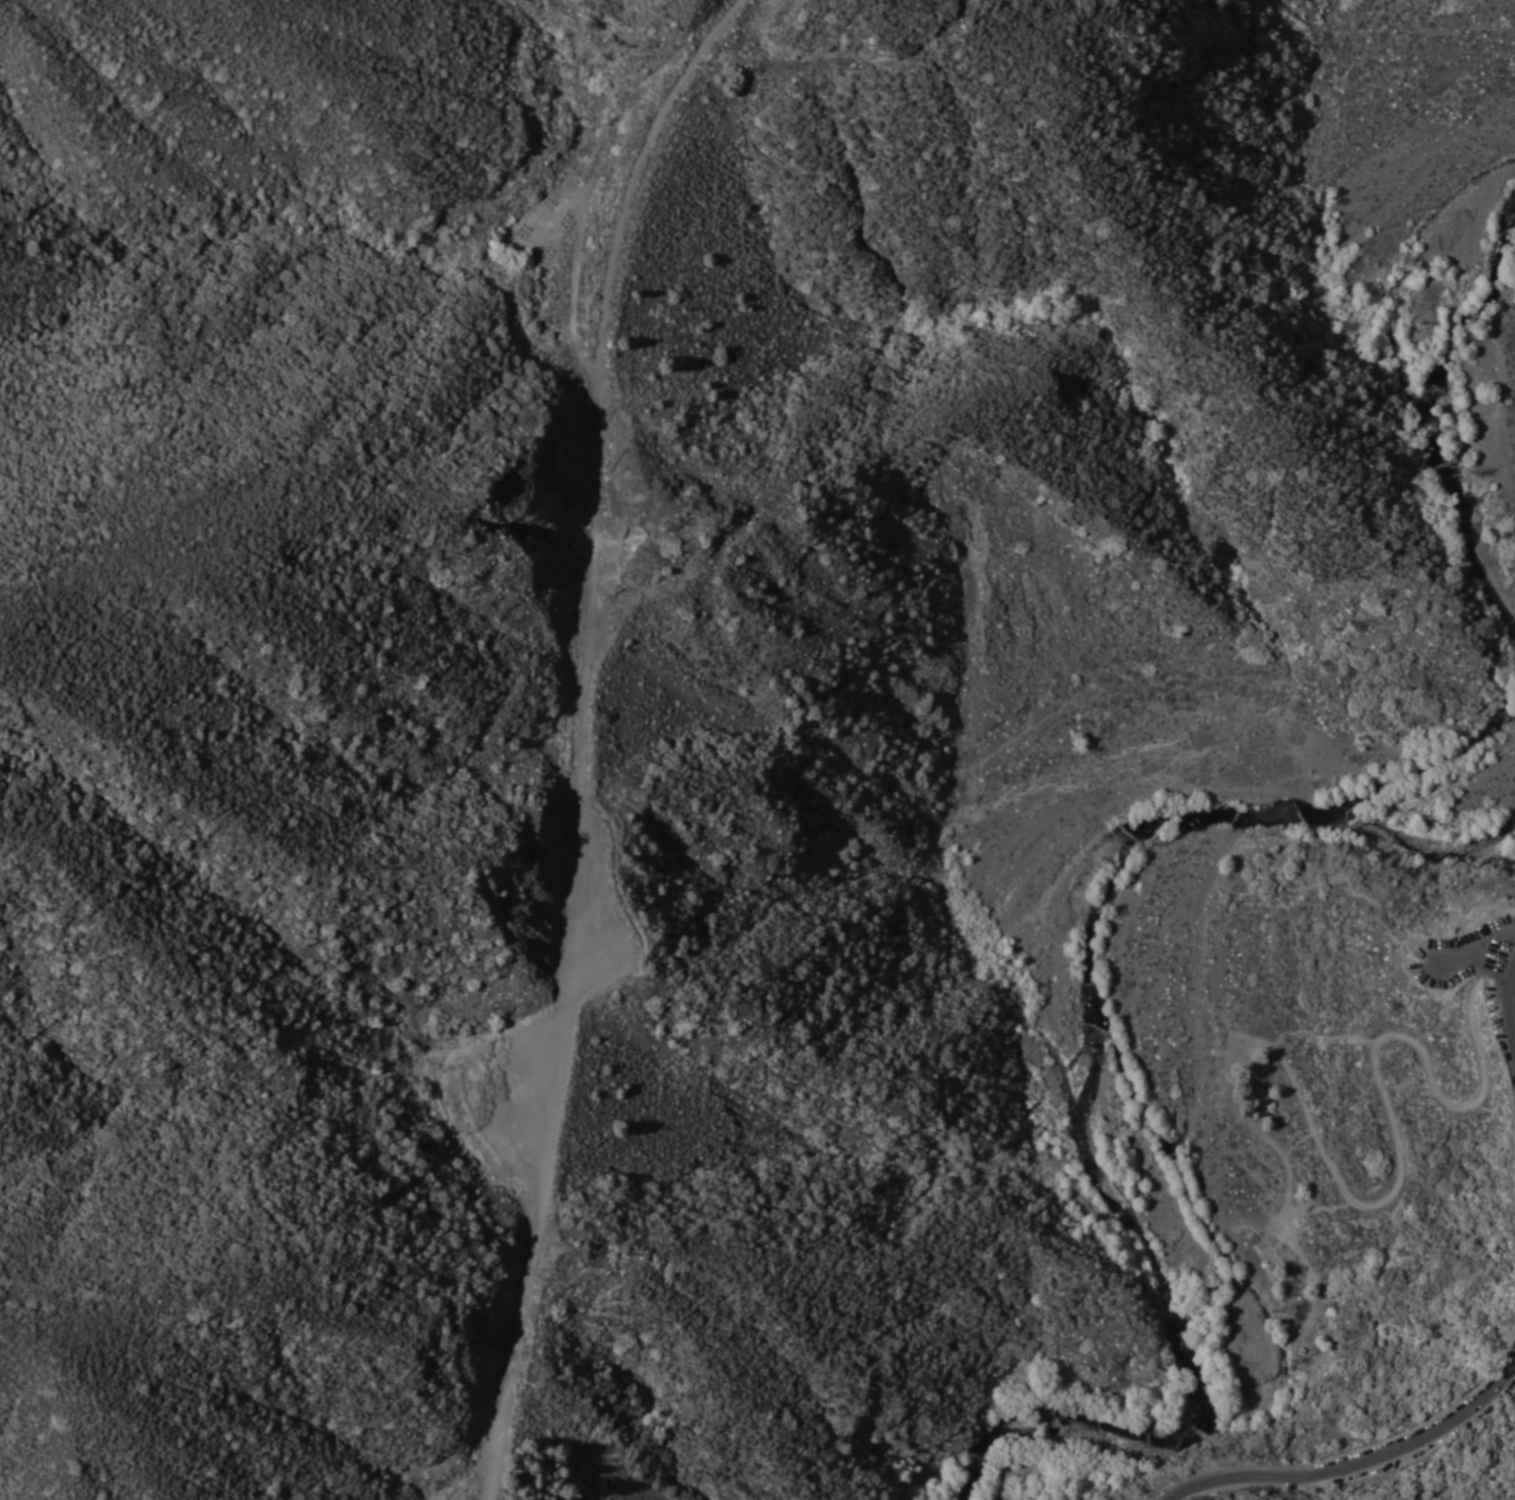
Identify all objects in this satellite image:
river: (1432, 384)
road: (578, 733)
road: (1312, 884)
building: (1416, 954)
road: (1476, 960)
road: (1456, 962)
road: (1477, 974)
parking lot: (1478, 974)
road: (1508, 1010)
river: (1120, 1067)
road: (1337, 1178)
road: (1357, 1462)

